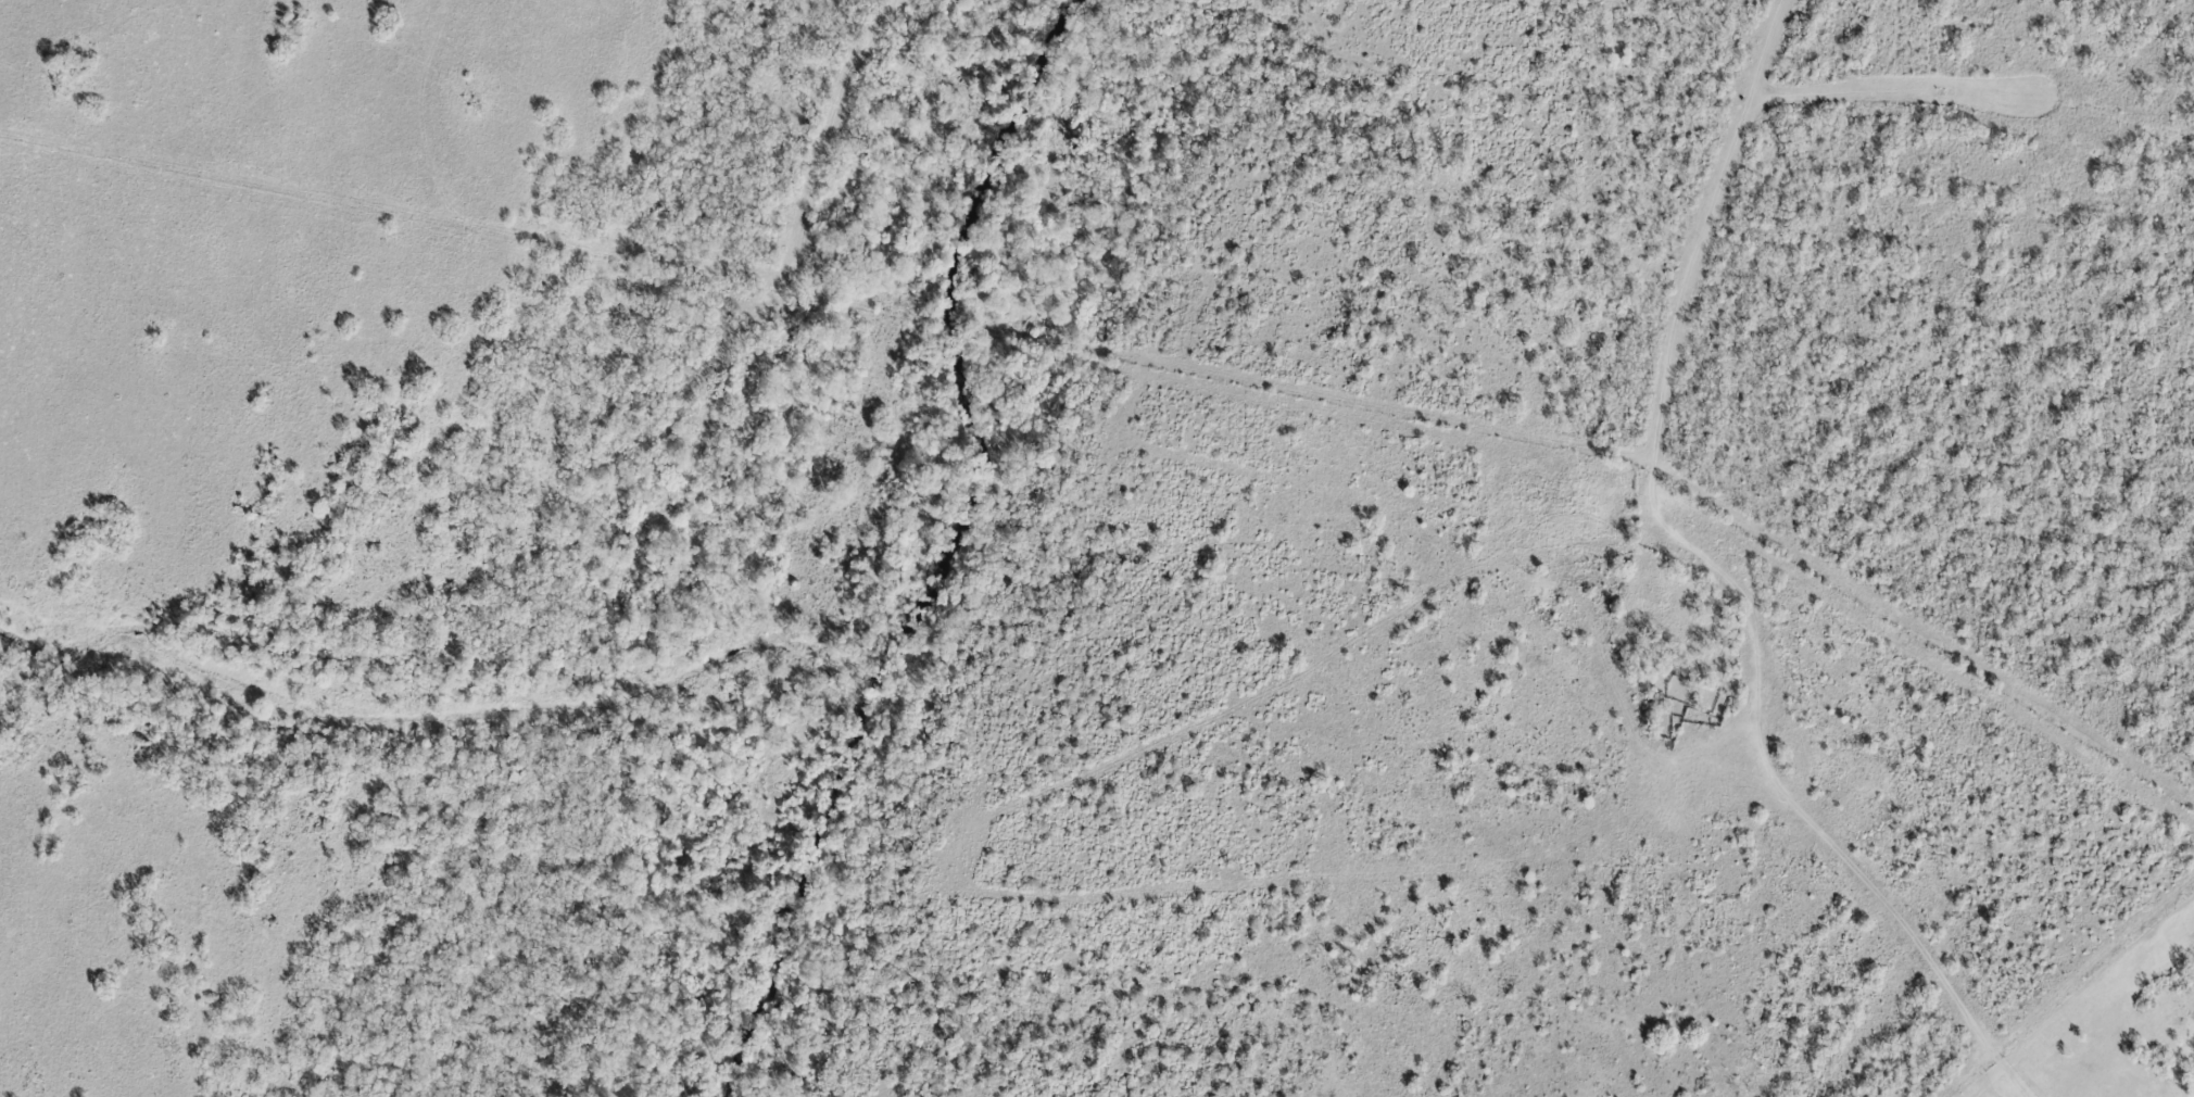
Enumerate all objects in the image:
river: (951, 379)
river: (784, 920)
park: (2171, 1030)

